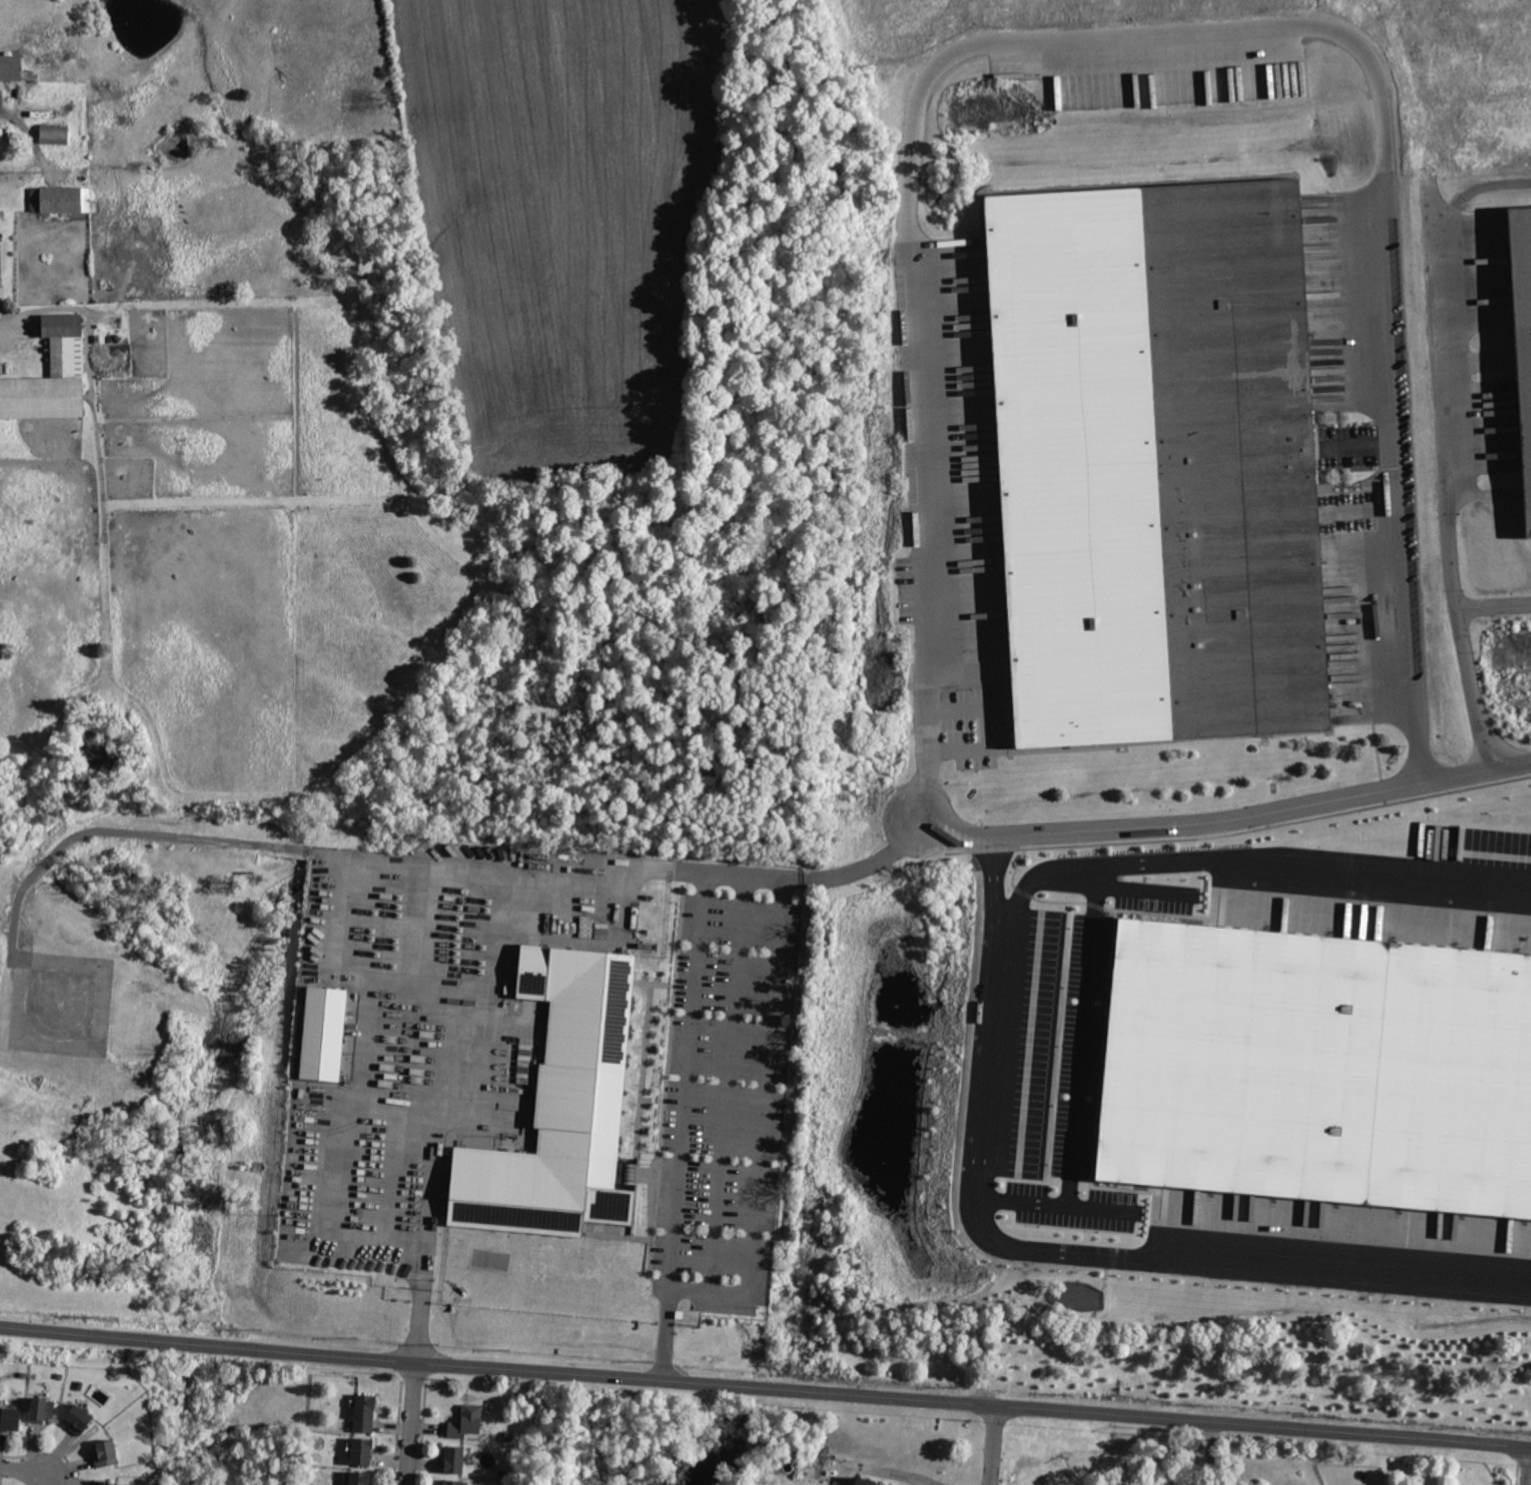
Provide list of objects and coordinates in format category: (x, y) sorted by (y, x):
road: (1143, 32)
building: (11, 67)
crop: (1461, 70)
building: (55, 133)
road: (1496, 186)
building: (62, 200)
road: (23, 330)
building: (1522, 336)
crop: (311, 348)
building: (48, 377)
building: (1154, 463)
road: (1445, 482)
road: (1494, 606)
road: (986, 726)
road: (1226, 824)
road: (1255, 861)
road: (494, 871)
road: (806, 877)
road: (1147, 888)
road: (422, 926)
road: (12, 935)
road: (419, 989)
building: (322, 1033)
road: (1084, 1035)
building: (1318, 1068)
road: (726, 1082)
building: (560, 1106)
road: (400, 1109)
road: (684, 1127)
road: (761, 1131)
road: (436, 1140)
road: (339, 1153)
flagpole: (654, 1158)
flagpole: (652, 1163)
road: (390, 1173)
road: (1059, 1204)
road: (1059, 1252)
road: (421, 1325)
road: (765, 1389)
building: (41, 1406)
building: (364, 1412)
building: (10, 1416)
building: (465, 1419)
building: (78, 1420)
road: (413, 1424)
road: (994, 1445)
building: (105, 1452)
building: (362, 1452)
road: (1209, 1454)
building: (454, 1458)
road: (894, 1471)
road: (24, 1473)
building: (357, 1477)
building: (452, 1481)
building: (866, 1481)
building: (107, 1482)

